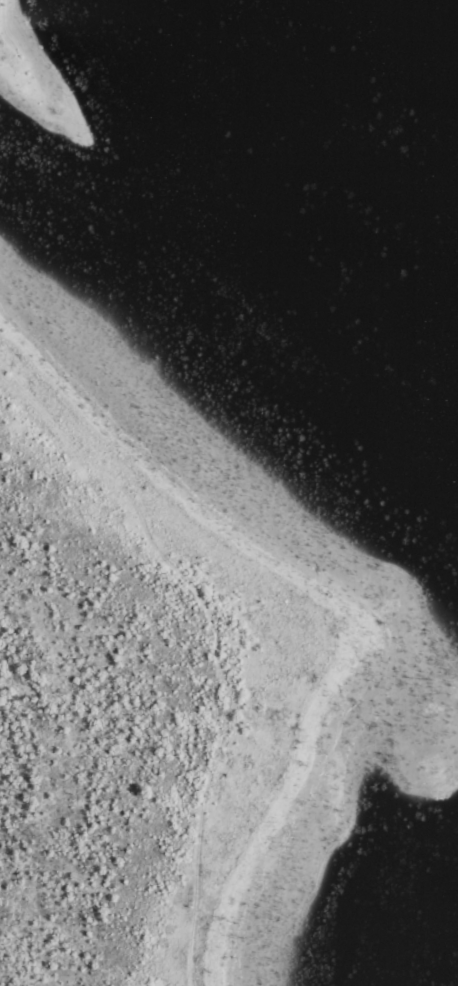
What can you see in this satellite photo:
river: (430, 30)

